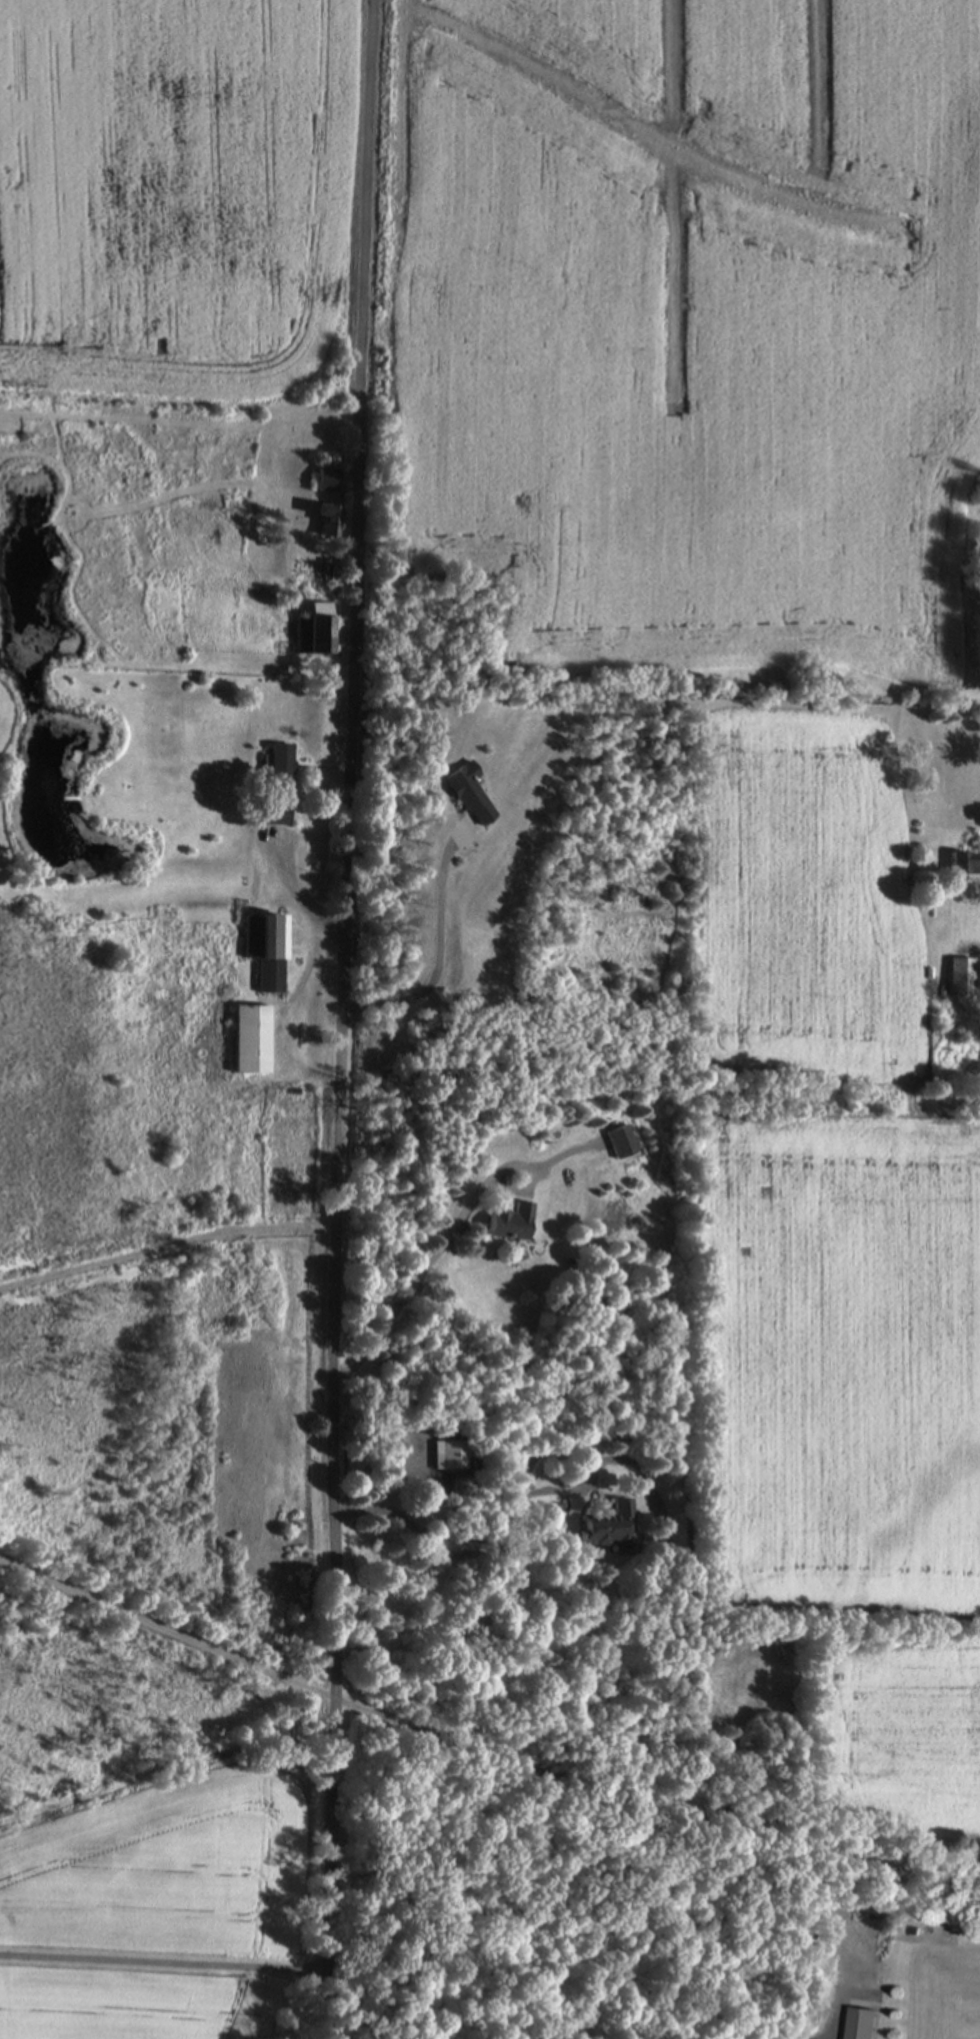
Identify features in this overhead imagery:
building: (327, 482)
building: (330, 523)
building: (315, 634)
building: (281, 769)
building: (471, 796)
building: (275, 816)
building: (965, 860)
road: (302, 905)
building: (266, 952)
road: (439, 955)
building: (961, 978)
road: (342, 1019)
building: (251, 1041)
building: (622, 1145)
building: (511, 1224)
road: (421, 1277)
building: (450, 1458)
road: (514, 1506)
building: (610, 1528)
road: (481, 1754)
road: (164, 1955)
building: (862, 2026)

